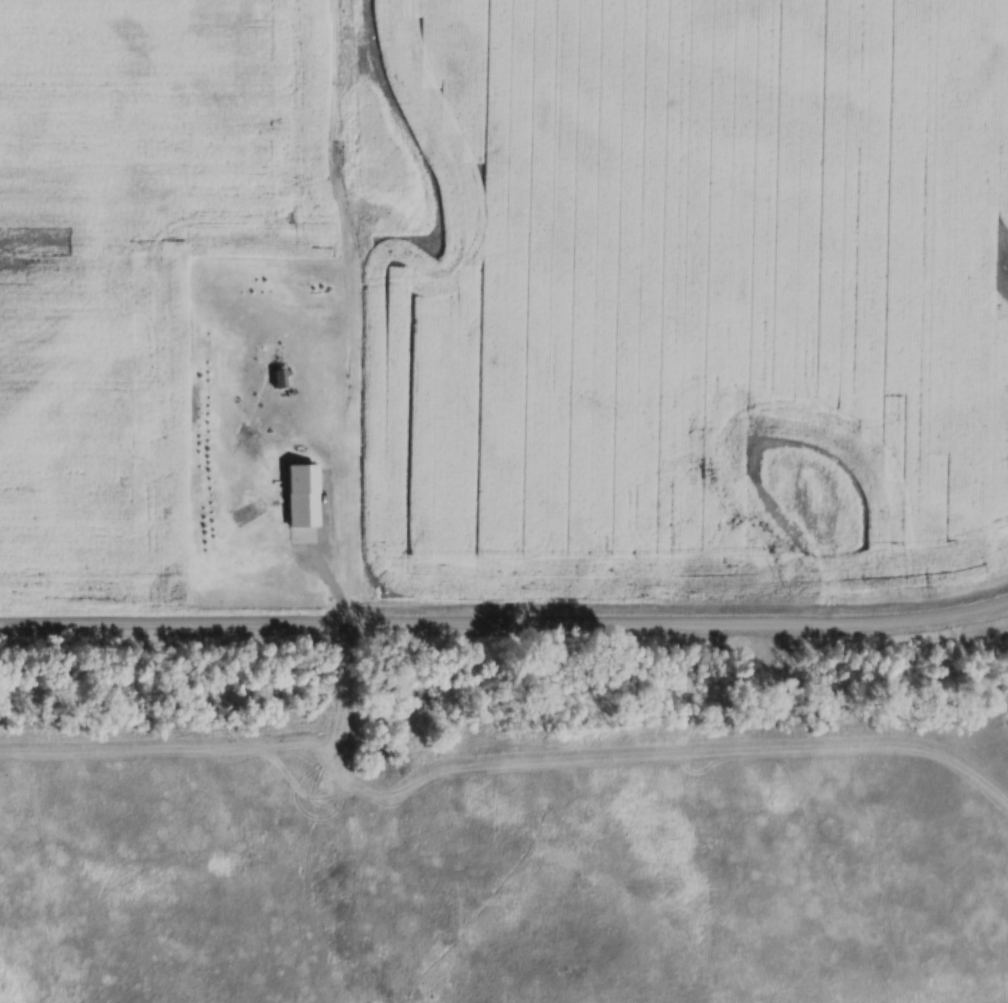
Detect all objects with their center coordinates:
road: (504, 623)

